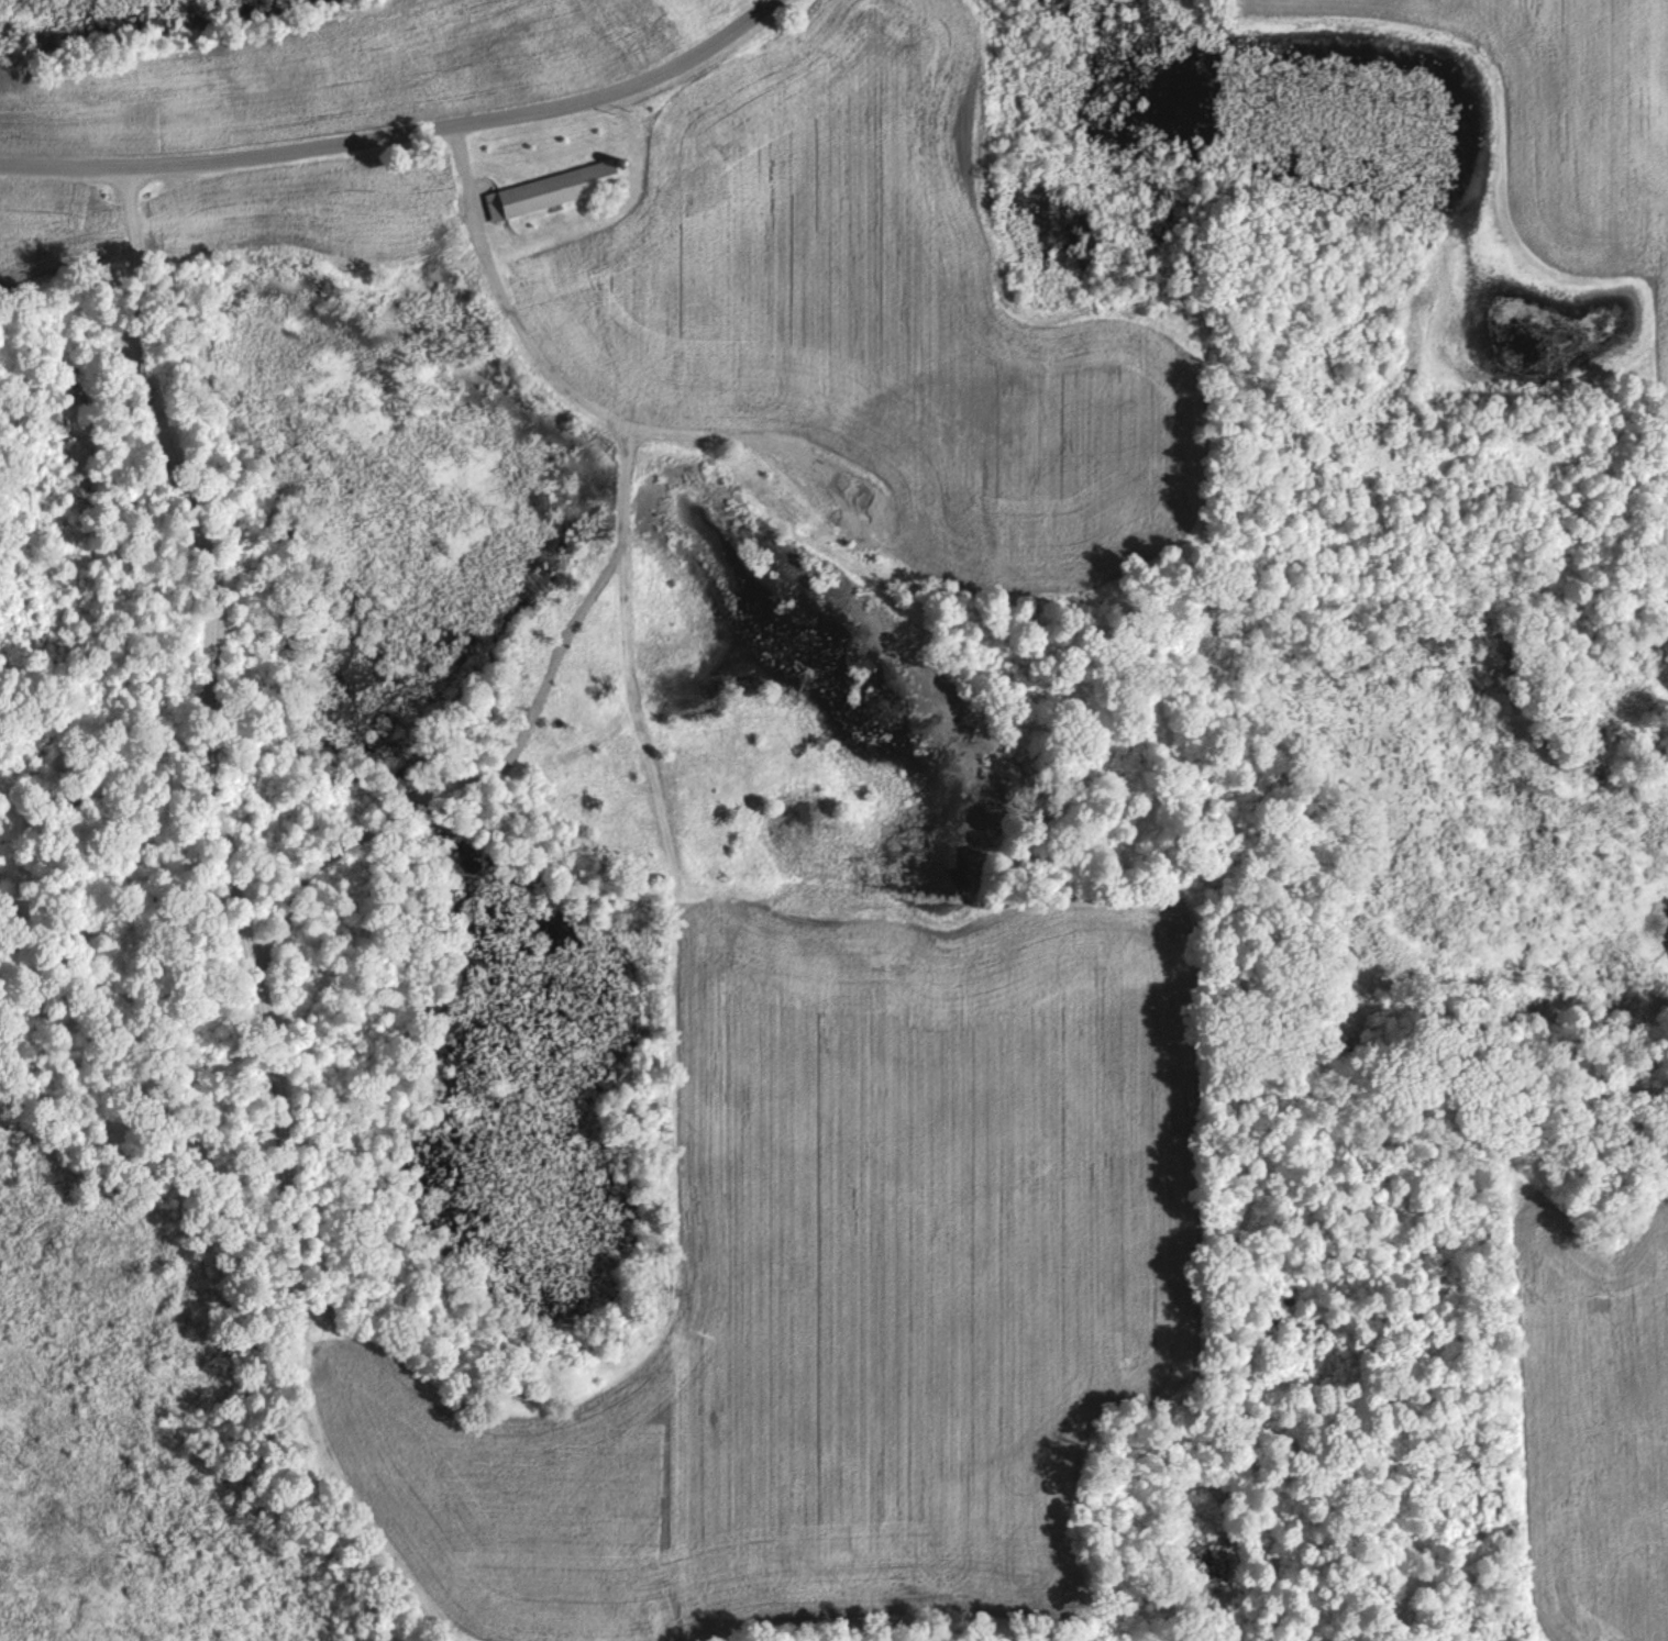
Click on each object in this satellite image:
building: (488, 30)
road: (397, 131)
building: (548, 188)

